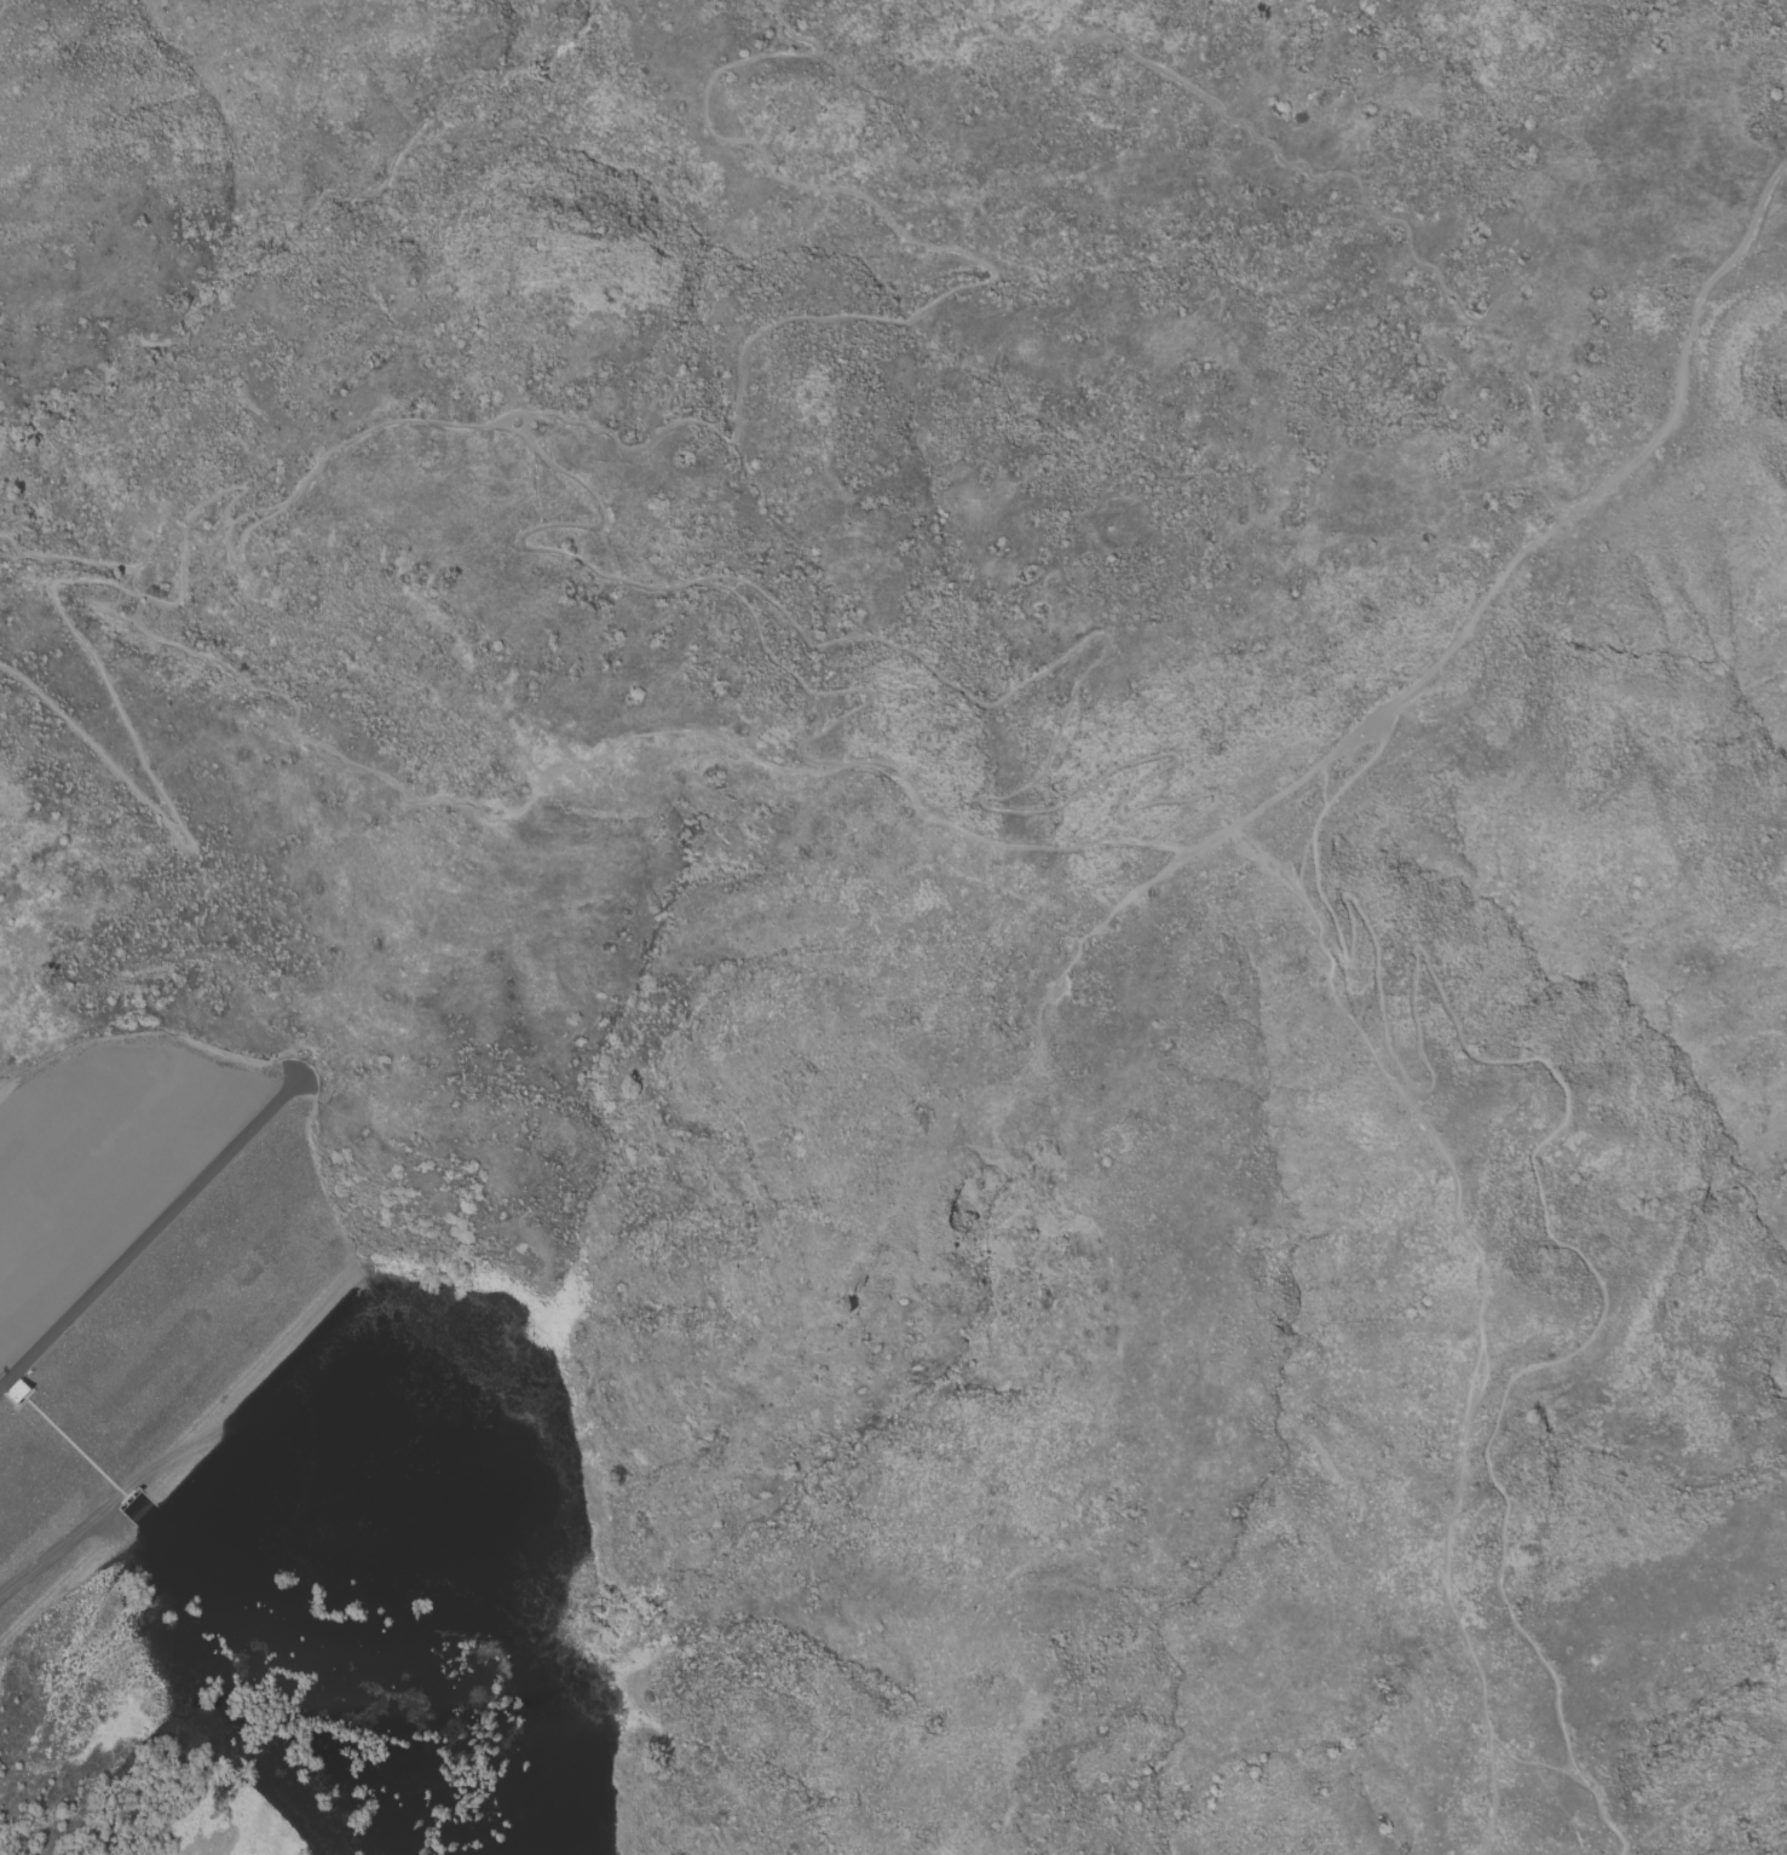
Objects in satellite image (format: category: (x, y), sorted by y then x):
road: (1, 6)
road: (549, 22)
road: (1341, 173)
road: (289, 214)
road: (970, 286)
road: (541, 529)
road: (150, 548)
road: (1472, 613)
road: (801, 681)
road: (594, 761)
road: (1293, 863)
road: (1339, 958)
road: (146, 1229)
dam: (138, 1269)
road: (1604, 1297)
road: (1477, 1307)
building: (10, 1389)

